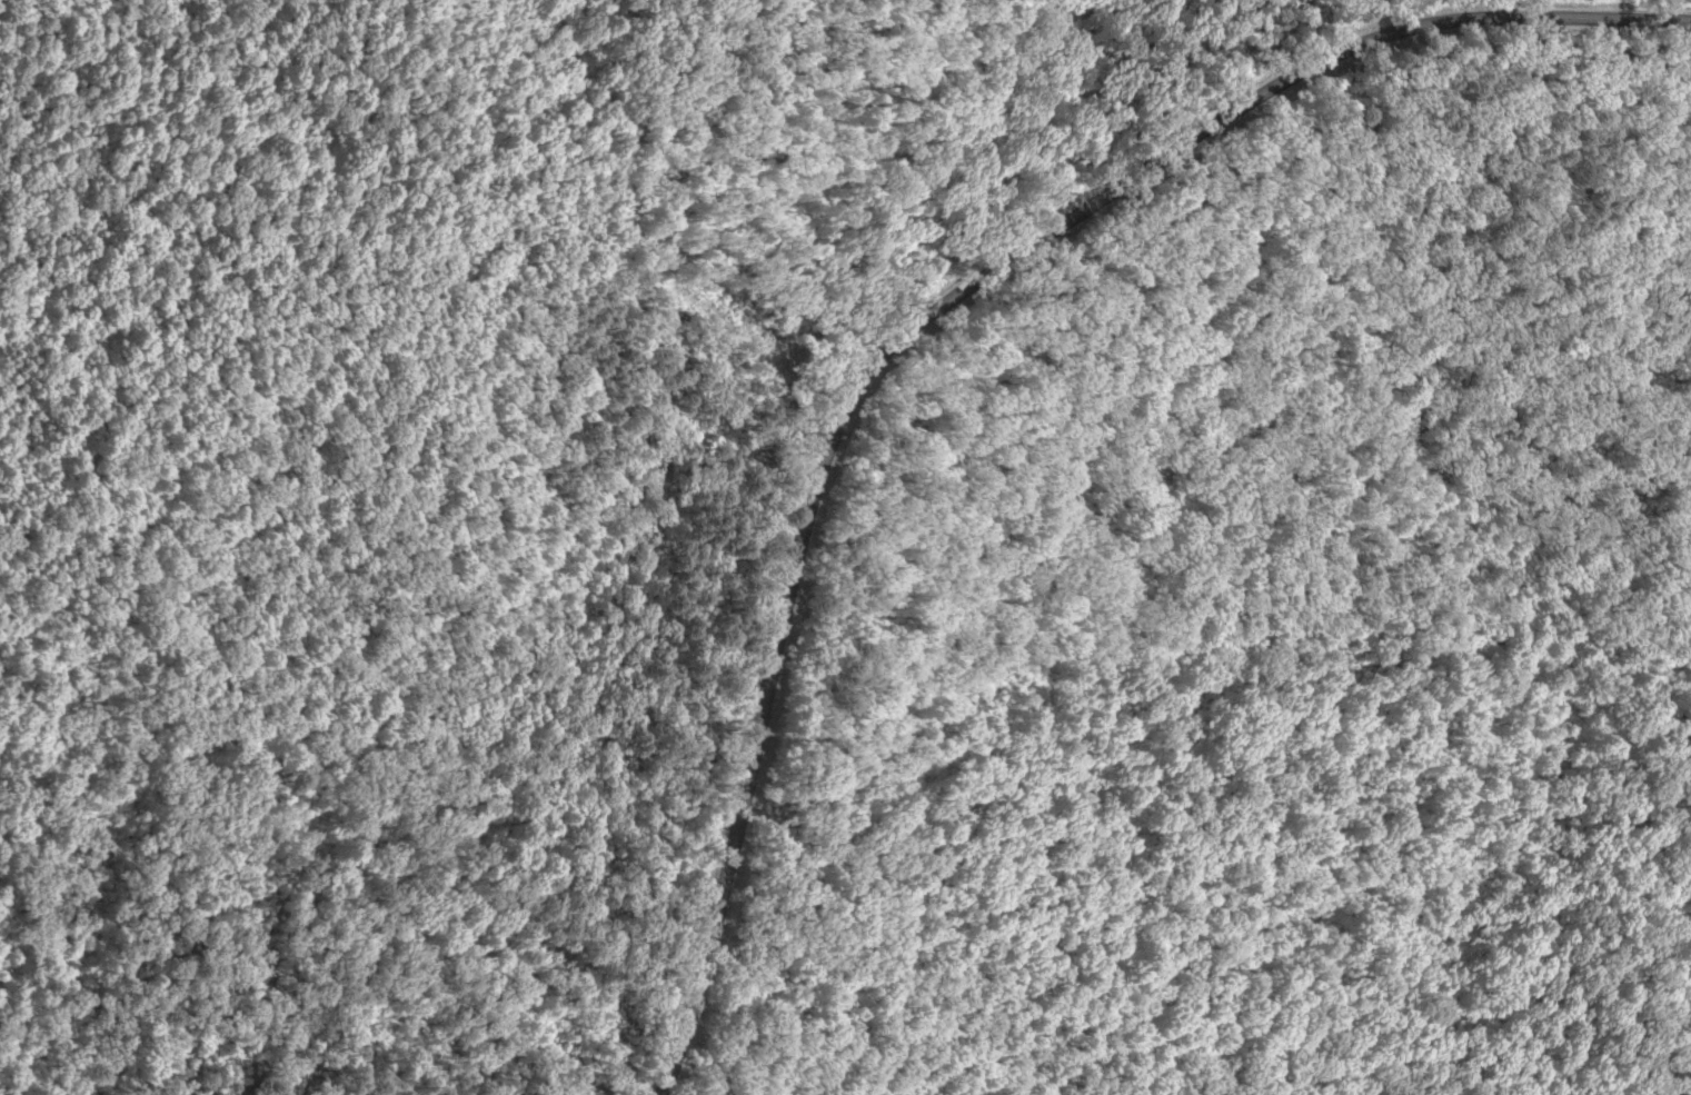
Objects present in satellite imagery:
road: (927, 308)

